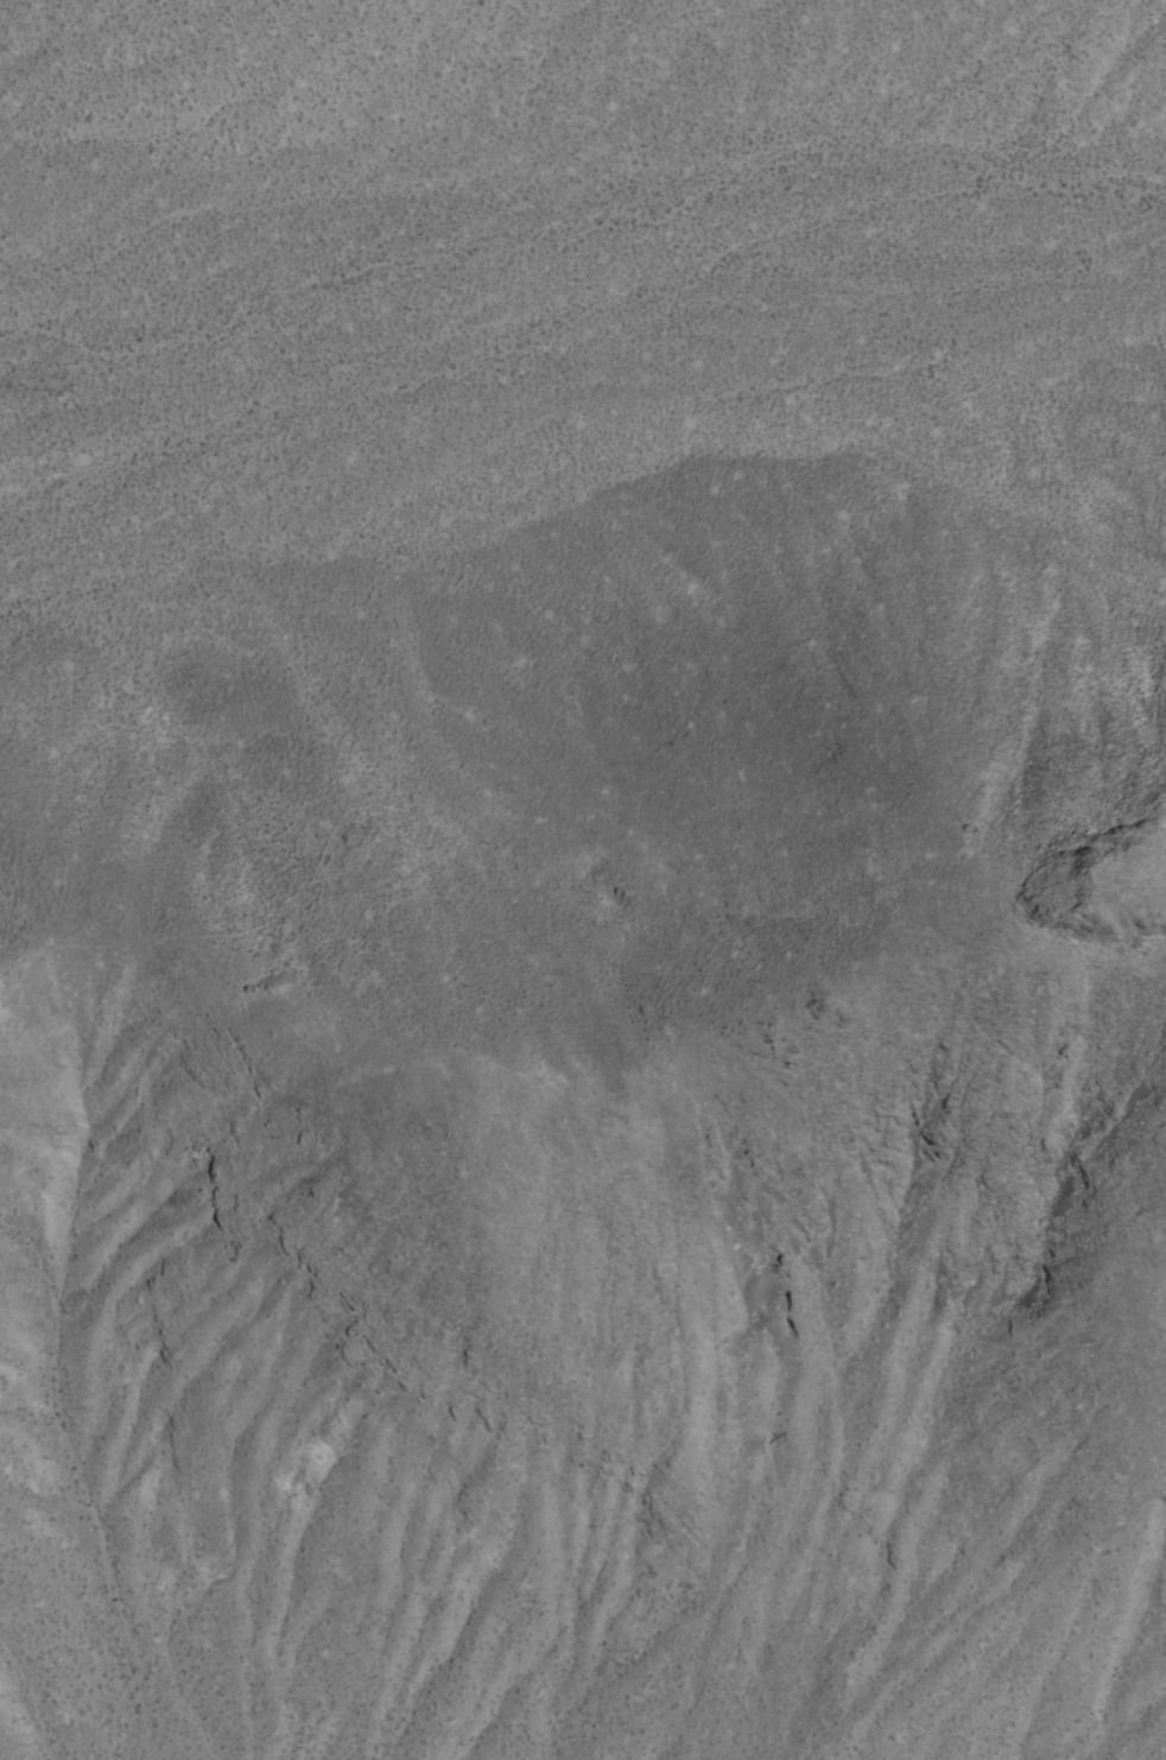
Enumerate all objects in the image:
road: (743, 1614)

